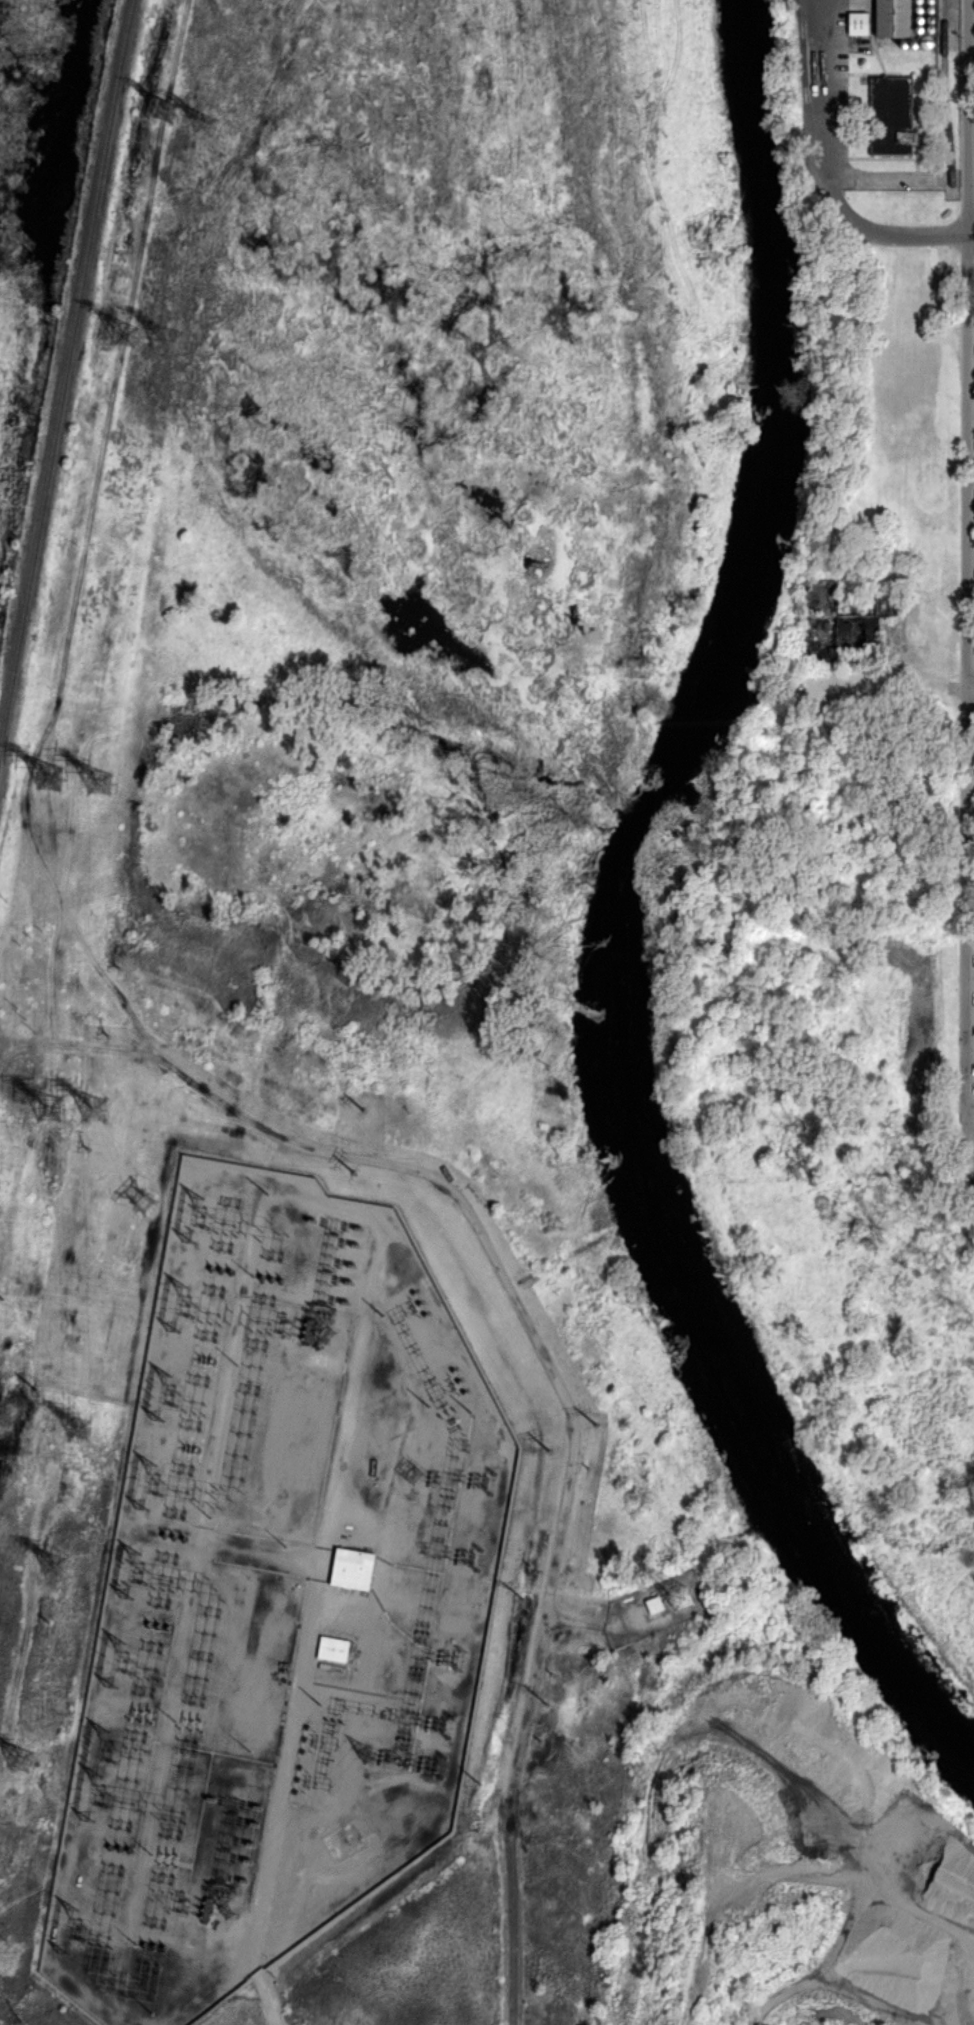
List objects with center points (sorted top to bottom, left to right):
building: (891, 18)
building: (857, 22)
railway: (945, 96)
power tower: (179, 109)
building: (890, 116)
power tower: (210, 124)
road: (827, 174)
road: (885, 176)
road: (972, 234)
power tower: (137, 337)
power tower: (169, 341)
railway: (65, 372)
road: (970, 571)
building: (856, 629)
road: (972, 689)
power tower: (50, 780)
power tower: (103, 788)
river: (619, 914)
power tower: (36, 939)
power tower: (123, 970)
power tower: (33, 1022)
power tower: (111, 1037)
power tower: (52, 1108)
power tower: (366, 1113)
power tower: (95, 1115)
road: (972, 1141)
power tower: (87, 1147)
power tower: (356, 1174)
power tower: (141, 1205)
power tower: (5, 1318)
power tower: (35, 1389)
power tower: (598, 1426)
power tower: (81, 1433)
power tower: (549, 1452)
power tower: (588, 1466)
power tower: (66, 1492)
power tower: (58, 1563)
power tower: (526, 1564)
building: (351, 1568)
power tower: (524, 1598)
power substation: (279, 1599)
building: (654, 1604)
power tower: (45, 1617)
building: (332, 1649)
power tower: (548, 1676)
power tower: (547, 1705)
power tower: (537, 1739)
power tower: (22, 1761)
power tower: (480, 1781)
power tower: (2, 1928)
power tower: (22, 2020)

